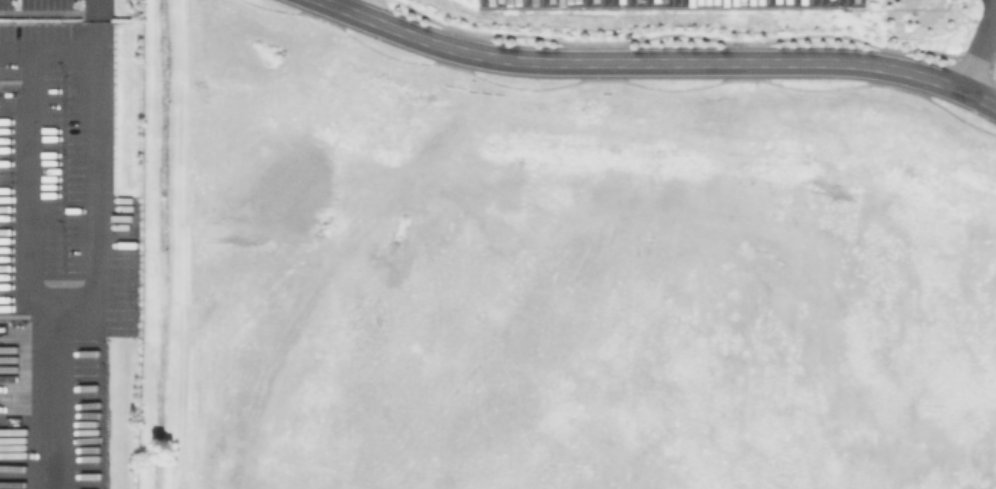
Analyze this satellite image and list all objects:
road: (355, 6)
road: (100, 11)
road: (980, 46)
road: (656, 63)
road: (36, 156)
road: (184, 244)
road: (97, 276)

